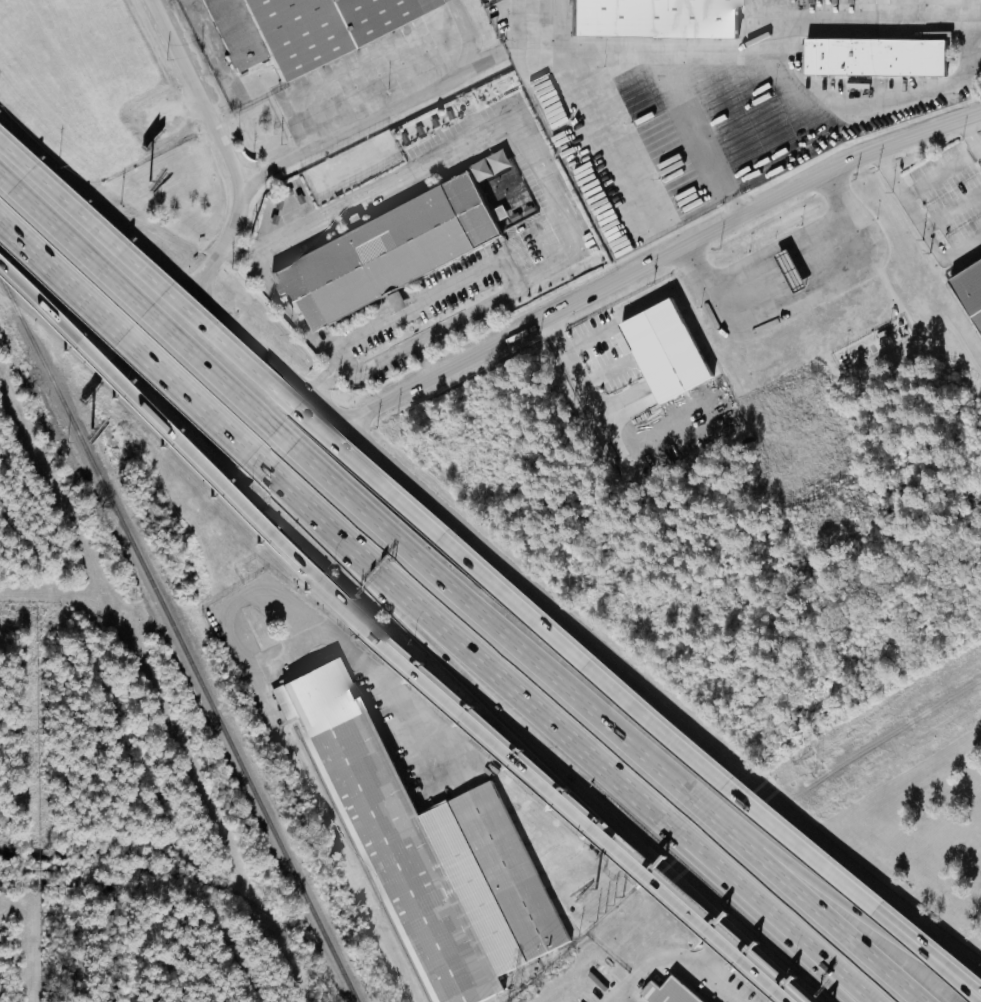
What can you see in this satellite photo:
building: (843, 2)
road: (972, 15)
building: (649, 18)
road: (547, 23)
building: (319, 27)
road: (464, 35)
building: (980, 46)
road: (647, 47)
building: (872, 56)
road: (944, 86)
road: (370, 117)
road: (700, 132)
road: (609, 138)
road: (969, 138)
road: (907, 193)
road: (237, 196)
parking lot: (947, 202)
road: (951, 210)
road: (962, 248)
road: (240, 249)
building: (384, 252)
road: (657, 258)
road: (168, 270)
road: (801, 294)
building: (967, 295)
road: (424, 297)
road: (137, 302)
road: (58, 324)
road: (128, 337)
building: (658, 352)
road: (427, 358)
road: (333, 361)
road: (321, 378)
road: (585, 386)
road: (304, 501)
road: (450, 538)
road: (250, 592)
railway: (178, 640)
road: (338, 644)
road: (383, 647)
road: (449, 692)
road: (657, 701)
road: (597, 716)
road: (424, 728)
power tower: (812, 767)
road: (610, 775)
road: (574, 781)
power plant: (86, 817)
railway: (351, 845)
building: (426, 853)
railway: (169, 875)
road: (842, 899)
road: (762, 917)
road: (713, 949)
road: (944, 960)
road: (944, 962)
road: (650, 966)
road: (724, 982)
building: (665, 992)
road: (625, 997)

